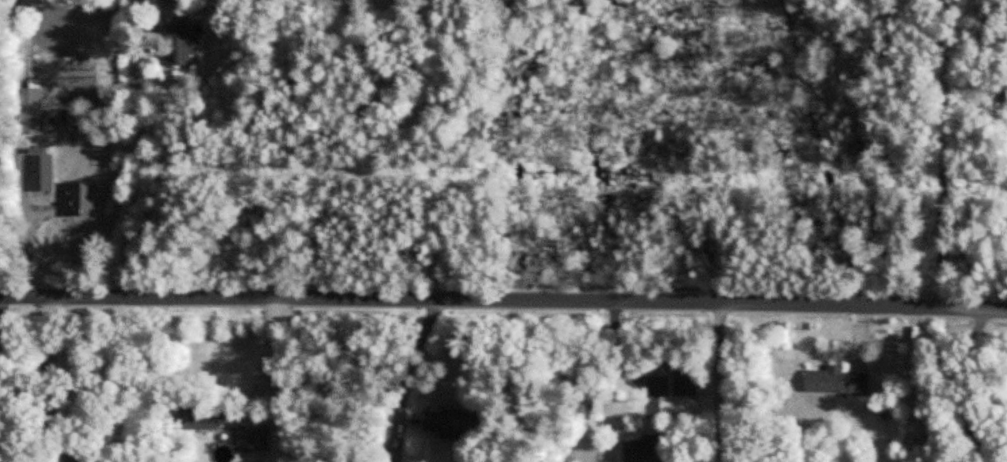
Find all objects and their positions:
building: (185, 44)
building: (30, 108)
road: (945, 153)
building: (42, 171)
road: (136, 185)
building: (83, 198)
road: (503, 304)
road: (265, 360)
road: (407, 372)
building: (837, 380)
road: (715, 383)
building: (682, 410)
building: (212, 417)
building: (444, 423)
building: (917, 431)
building: (252, 437)
building: (644, 449)

